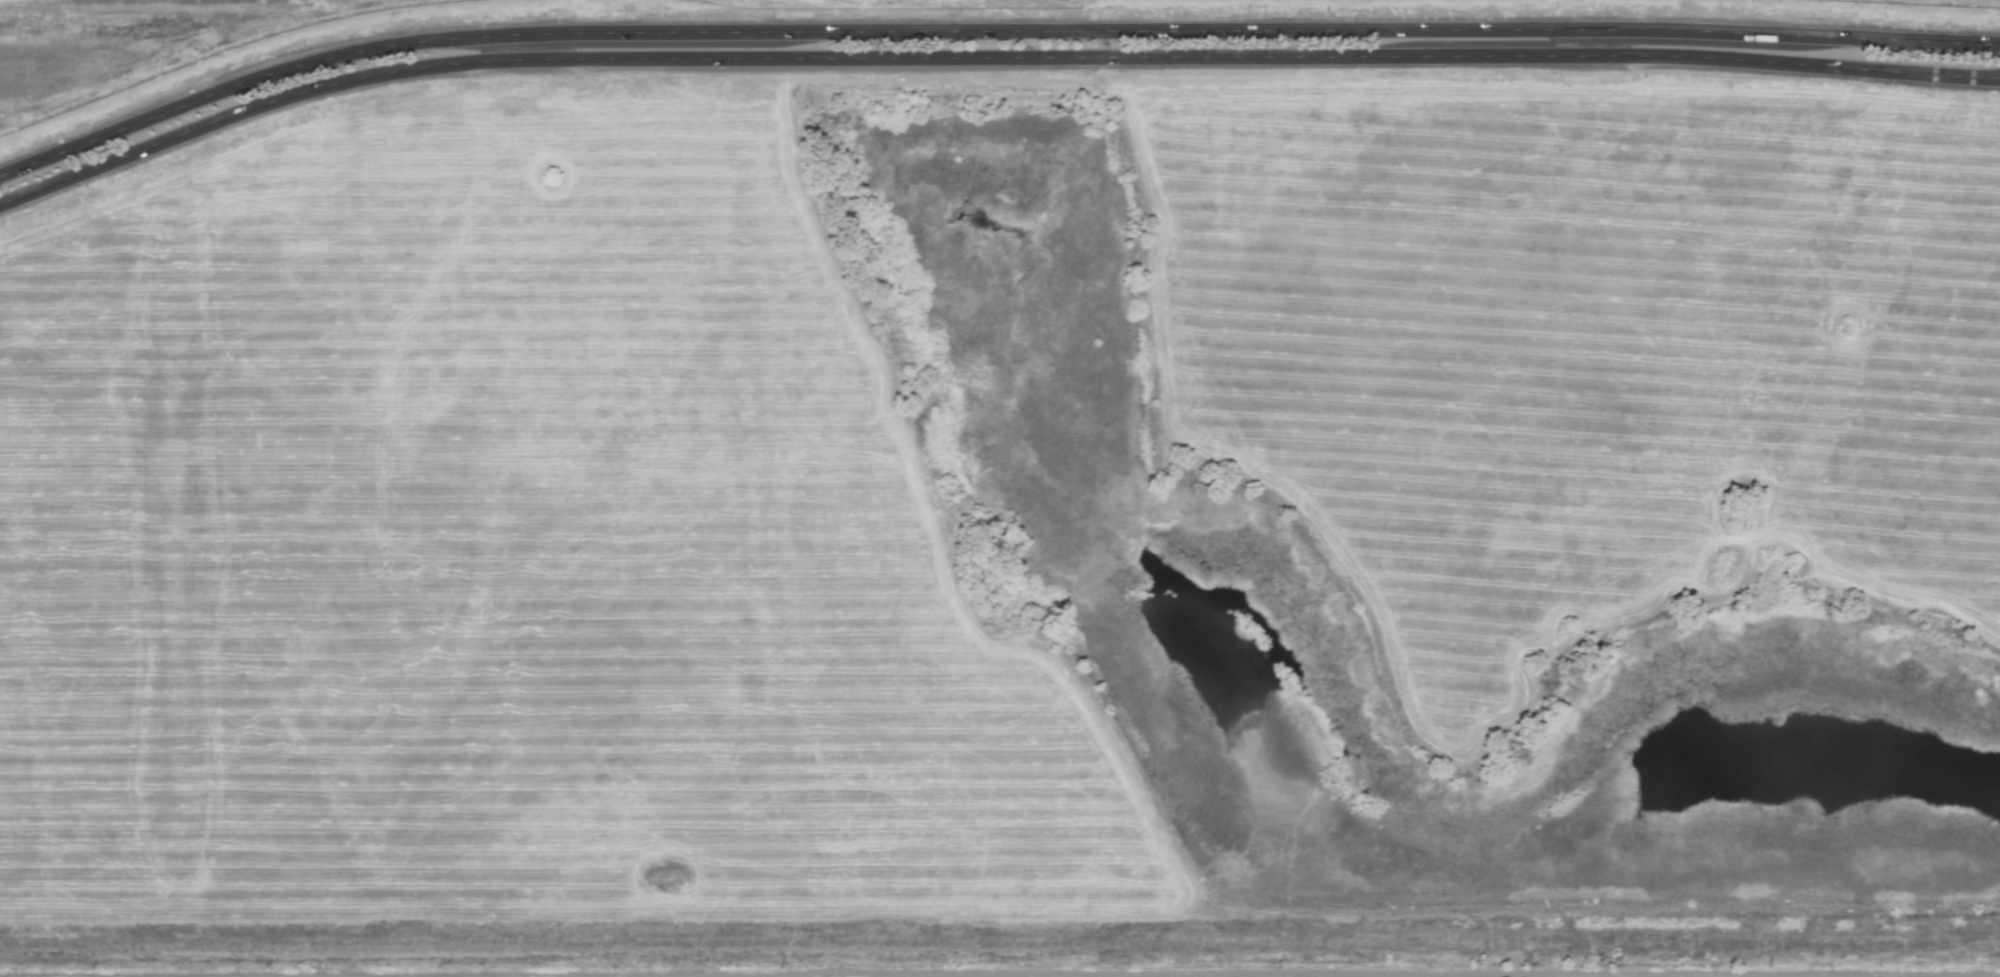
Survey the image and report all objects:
road: (988, 30)
crop: (198, 45)
road: (988, 56)
crop: (1580, 353)
crop: (515, 564)
road: (1000, 971)

